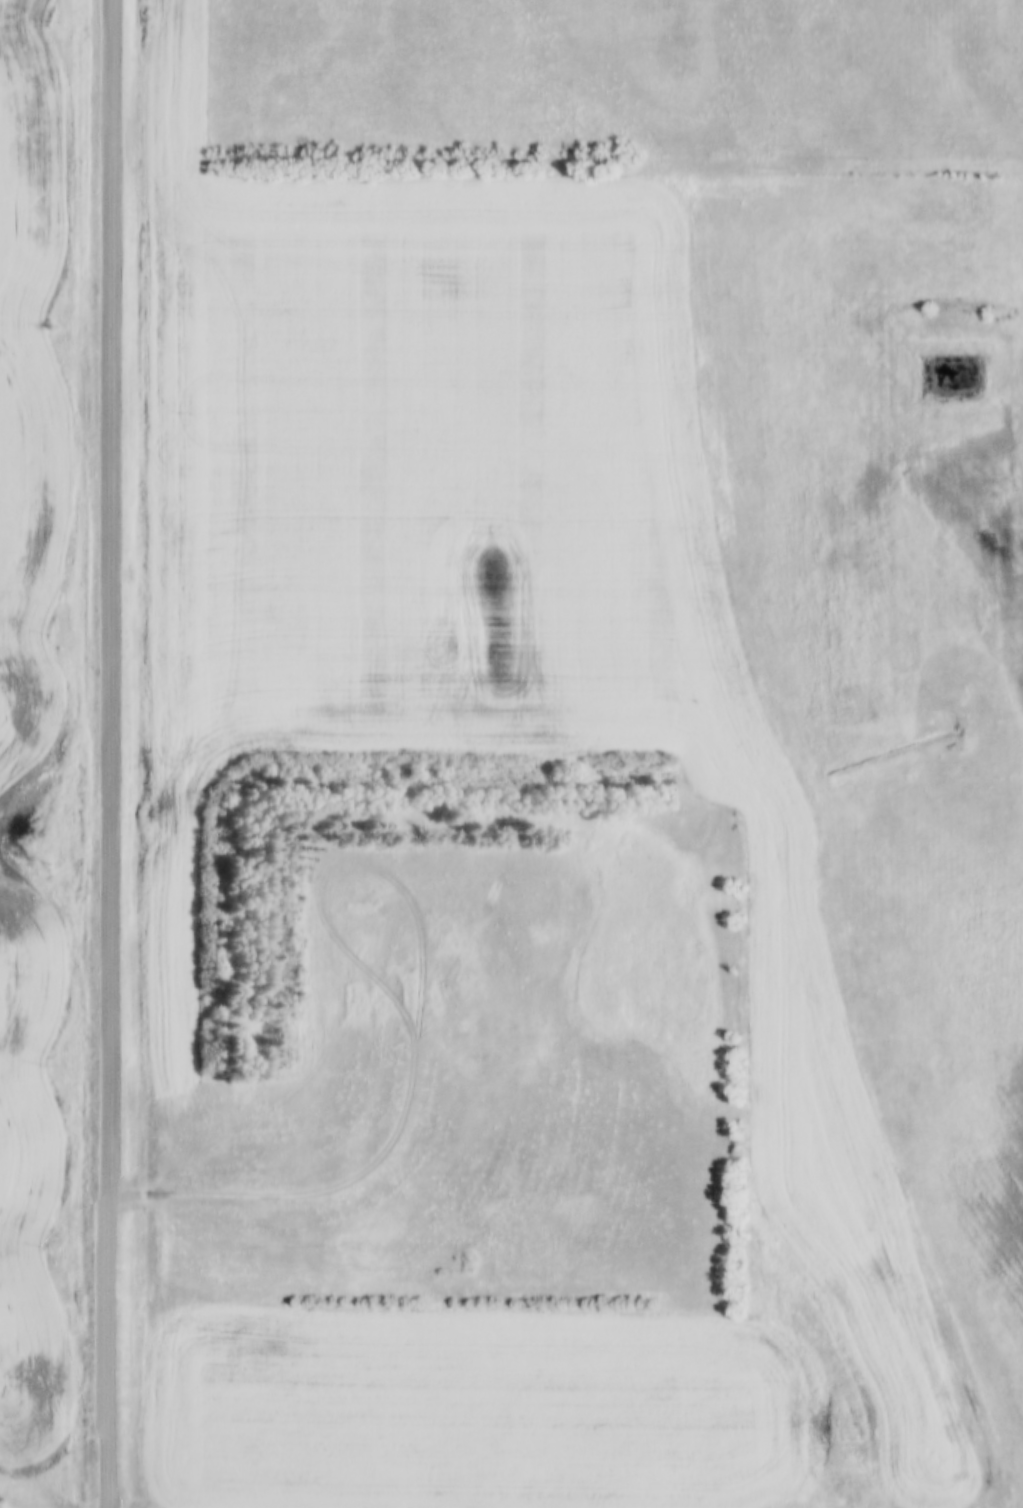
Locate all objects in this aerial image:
road: (108, 754)
road: (42, 1482)

